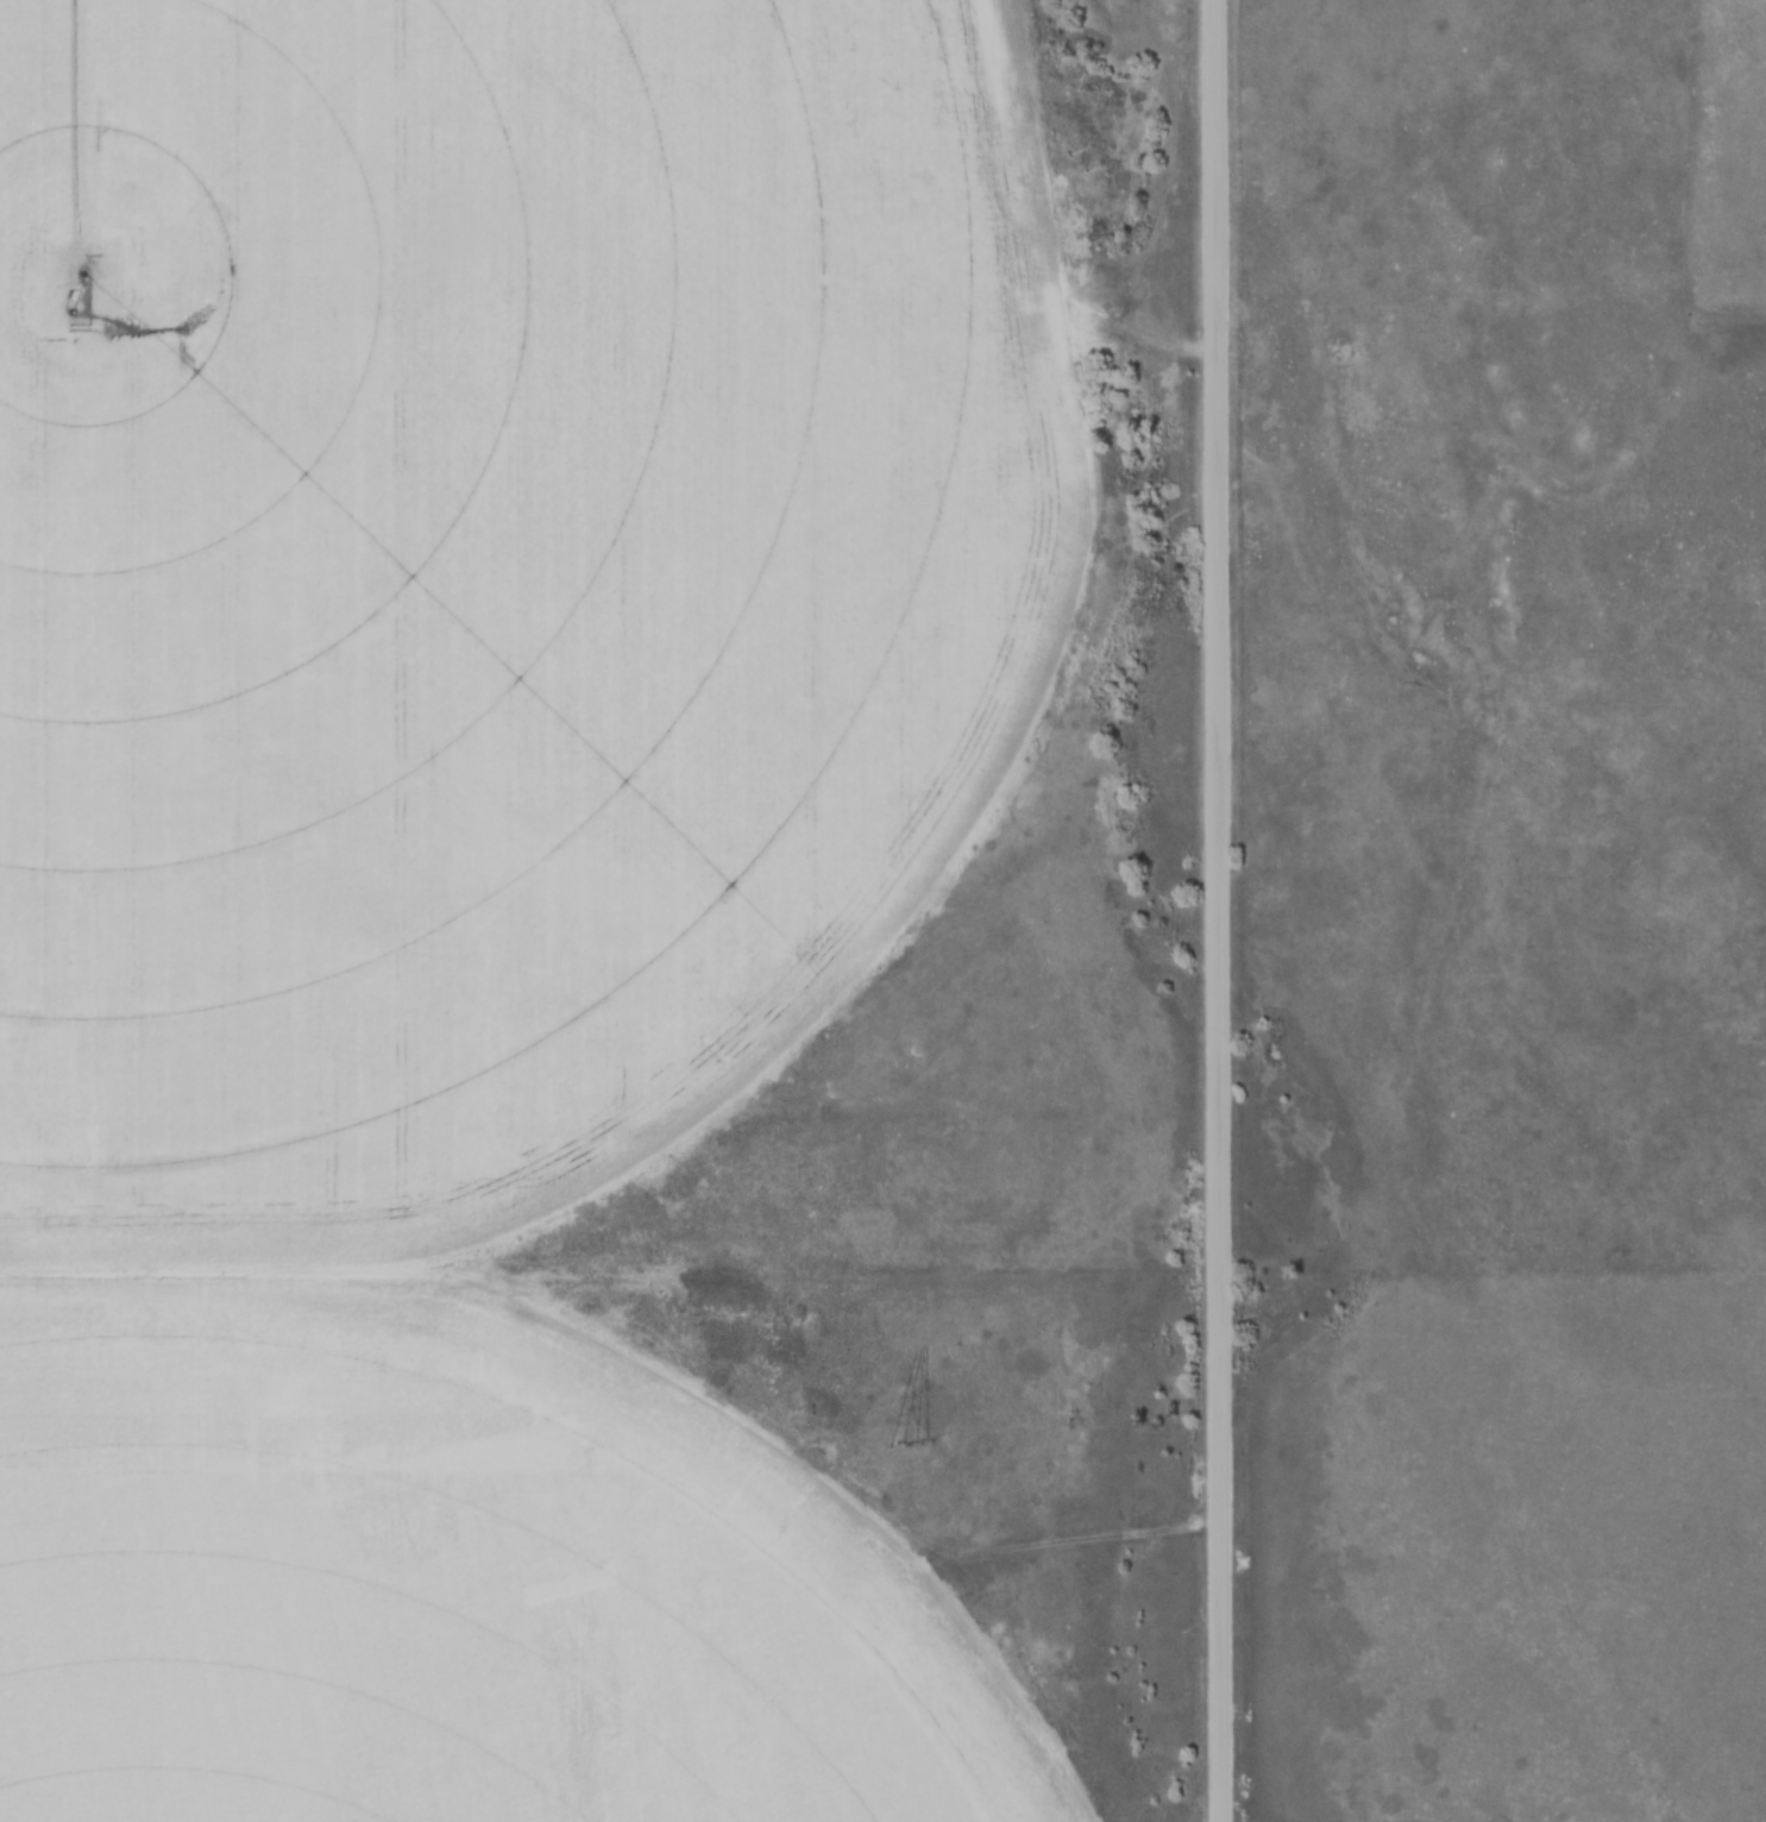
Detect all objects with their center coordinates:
road: (1218, 911)

